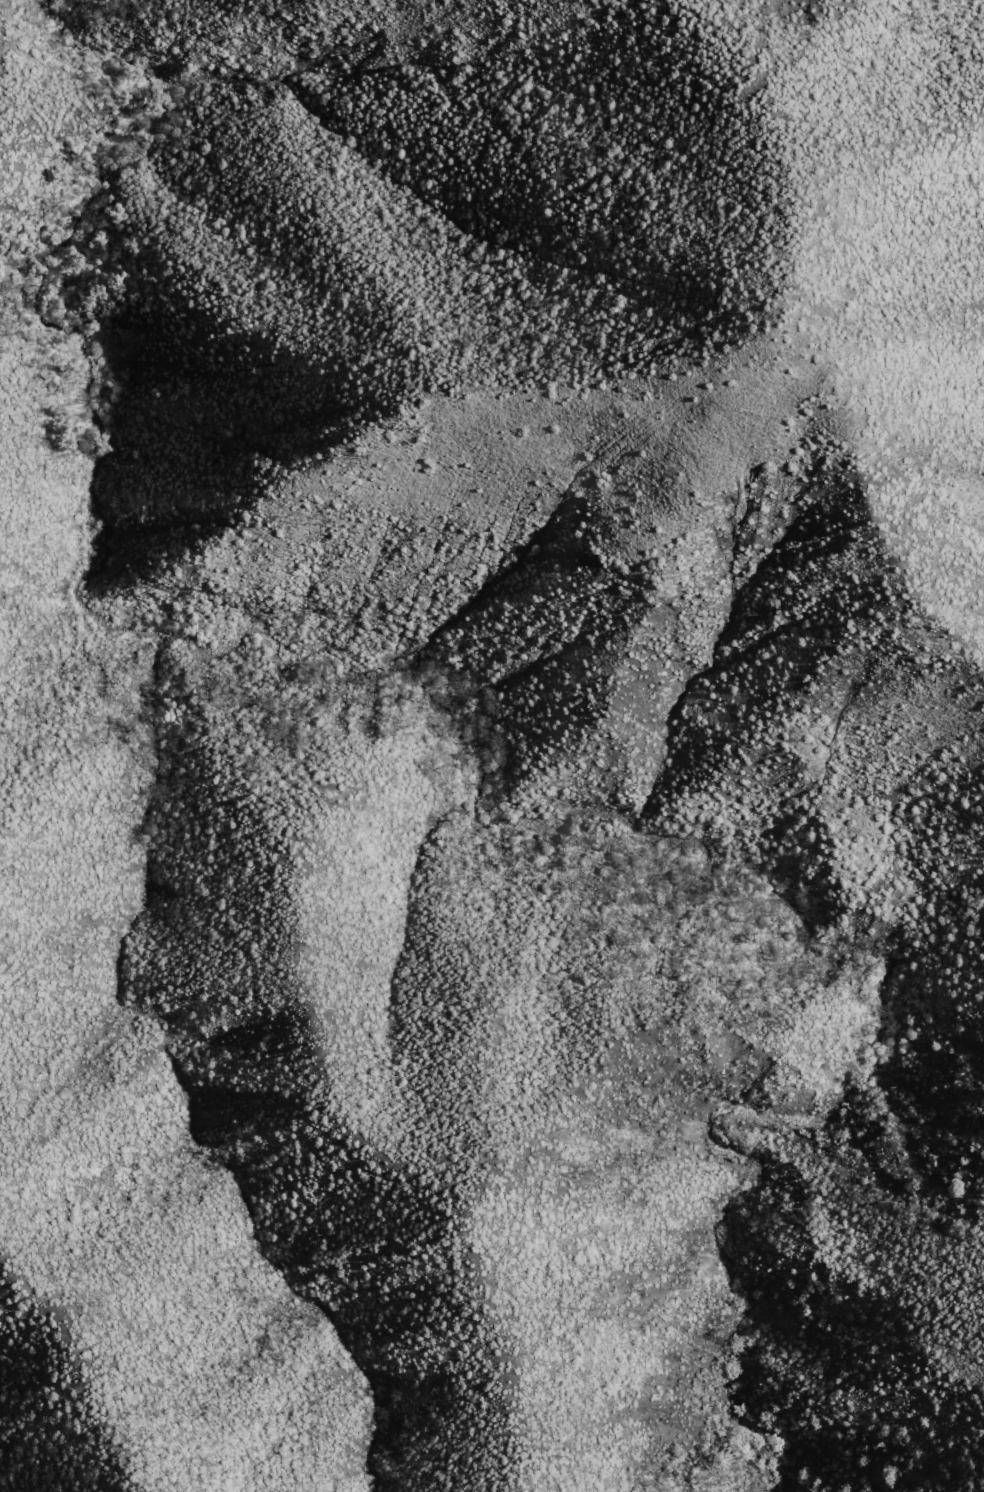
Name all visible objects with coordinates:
road: (86, 74)

